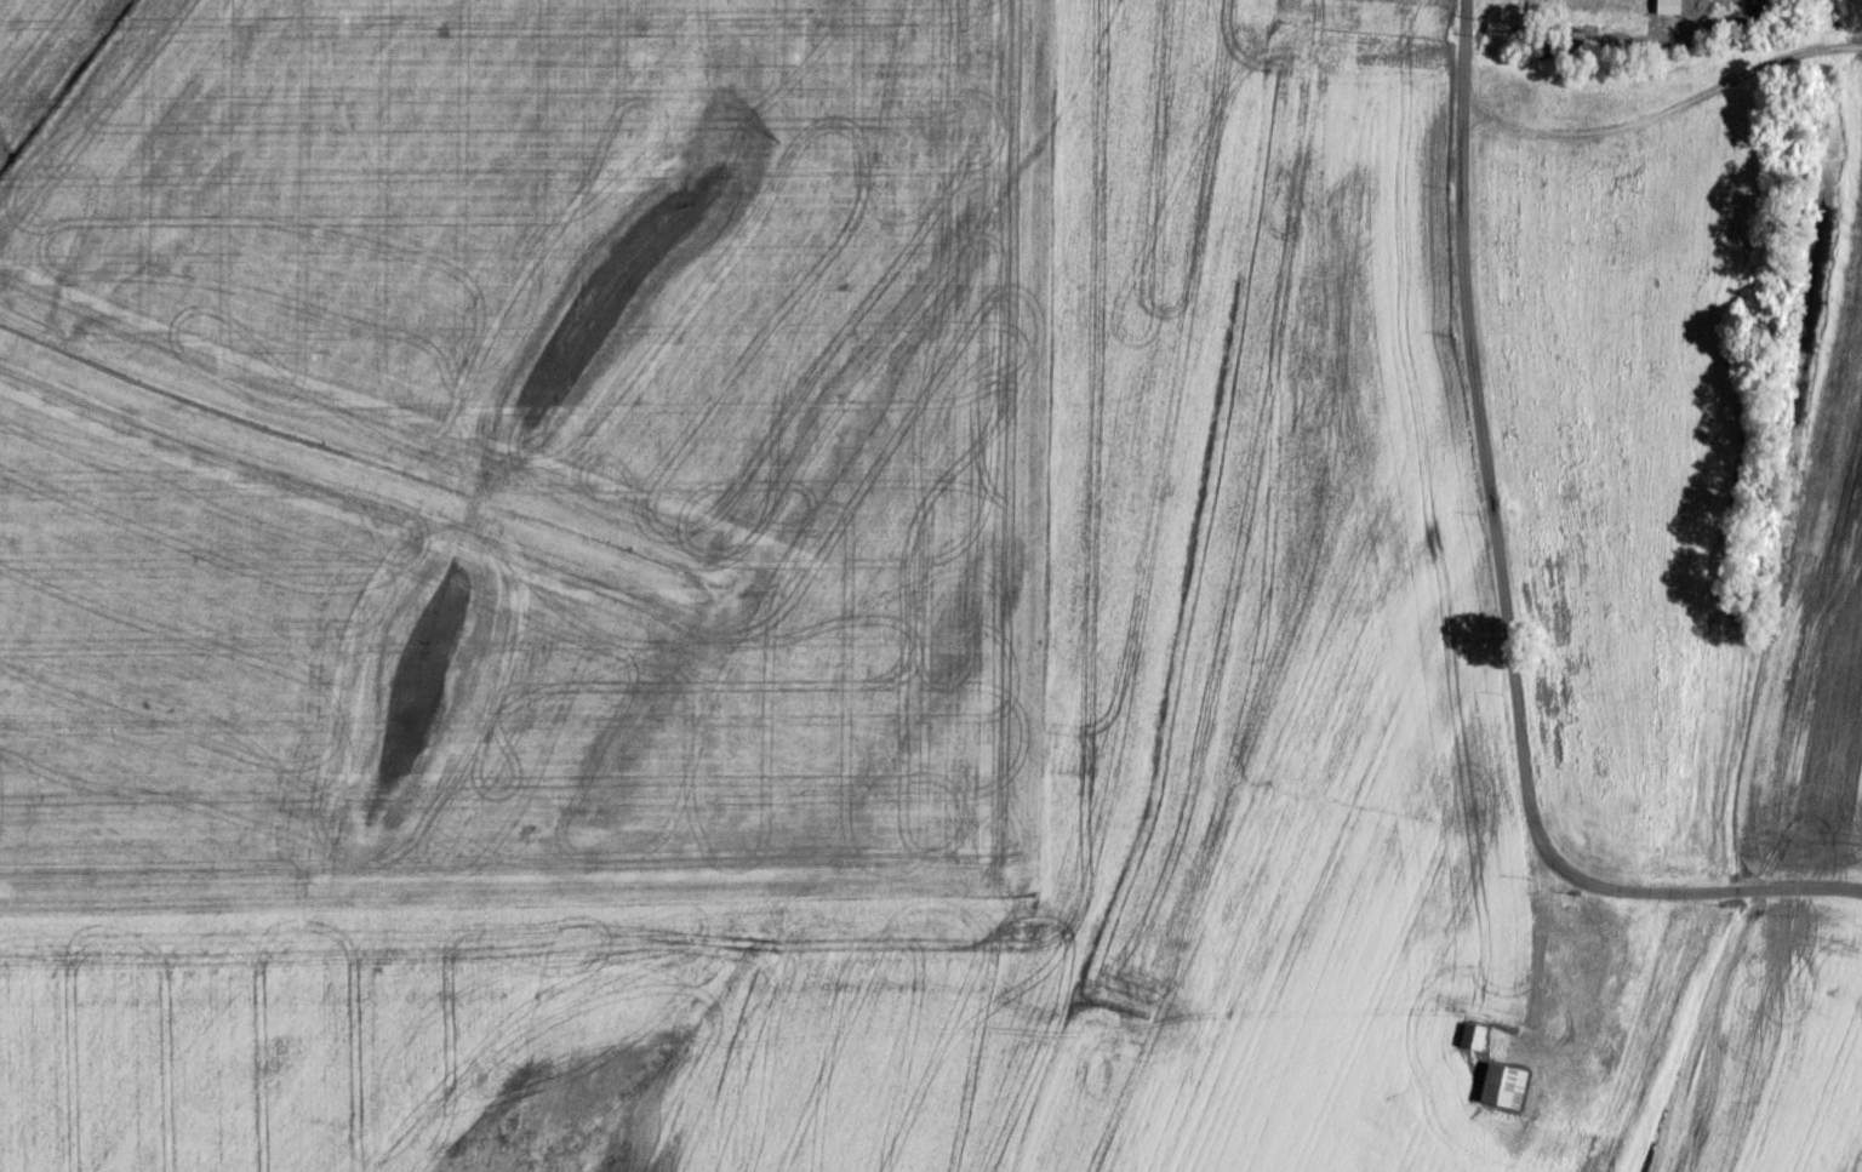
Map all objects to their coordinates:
building: (1667, 5)
road: (1498, 590)
building: (1472, 1034)
building: (1502, 1084)

